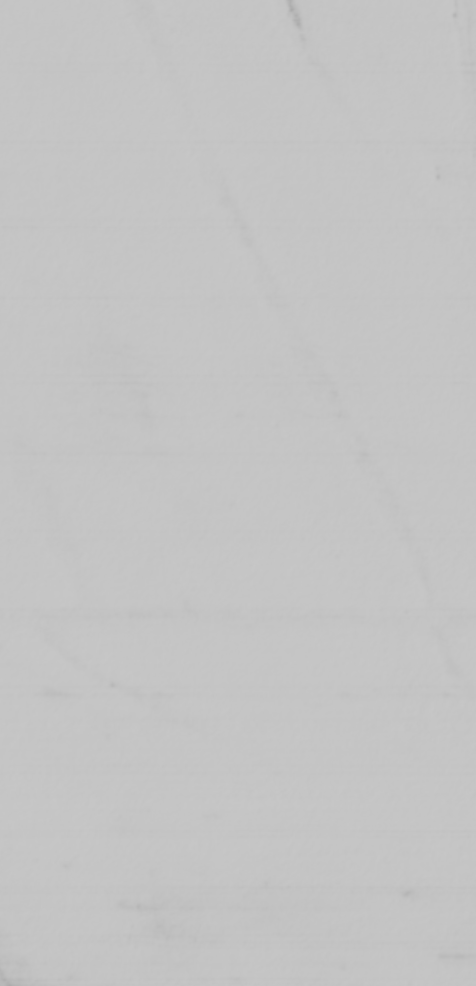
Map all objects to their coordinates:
crop: (238, 493)

